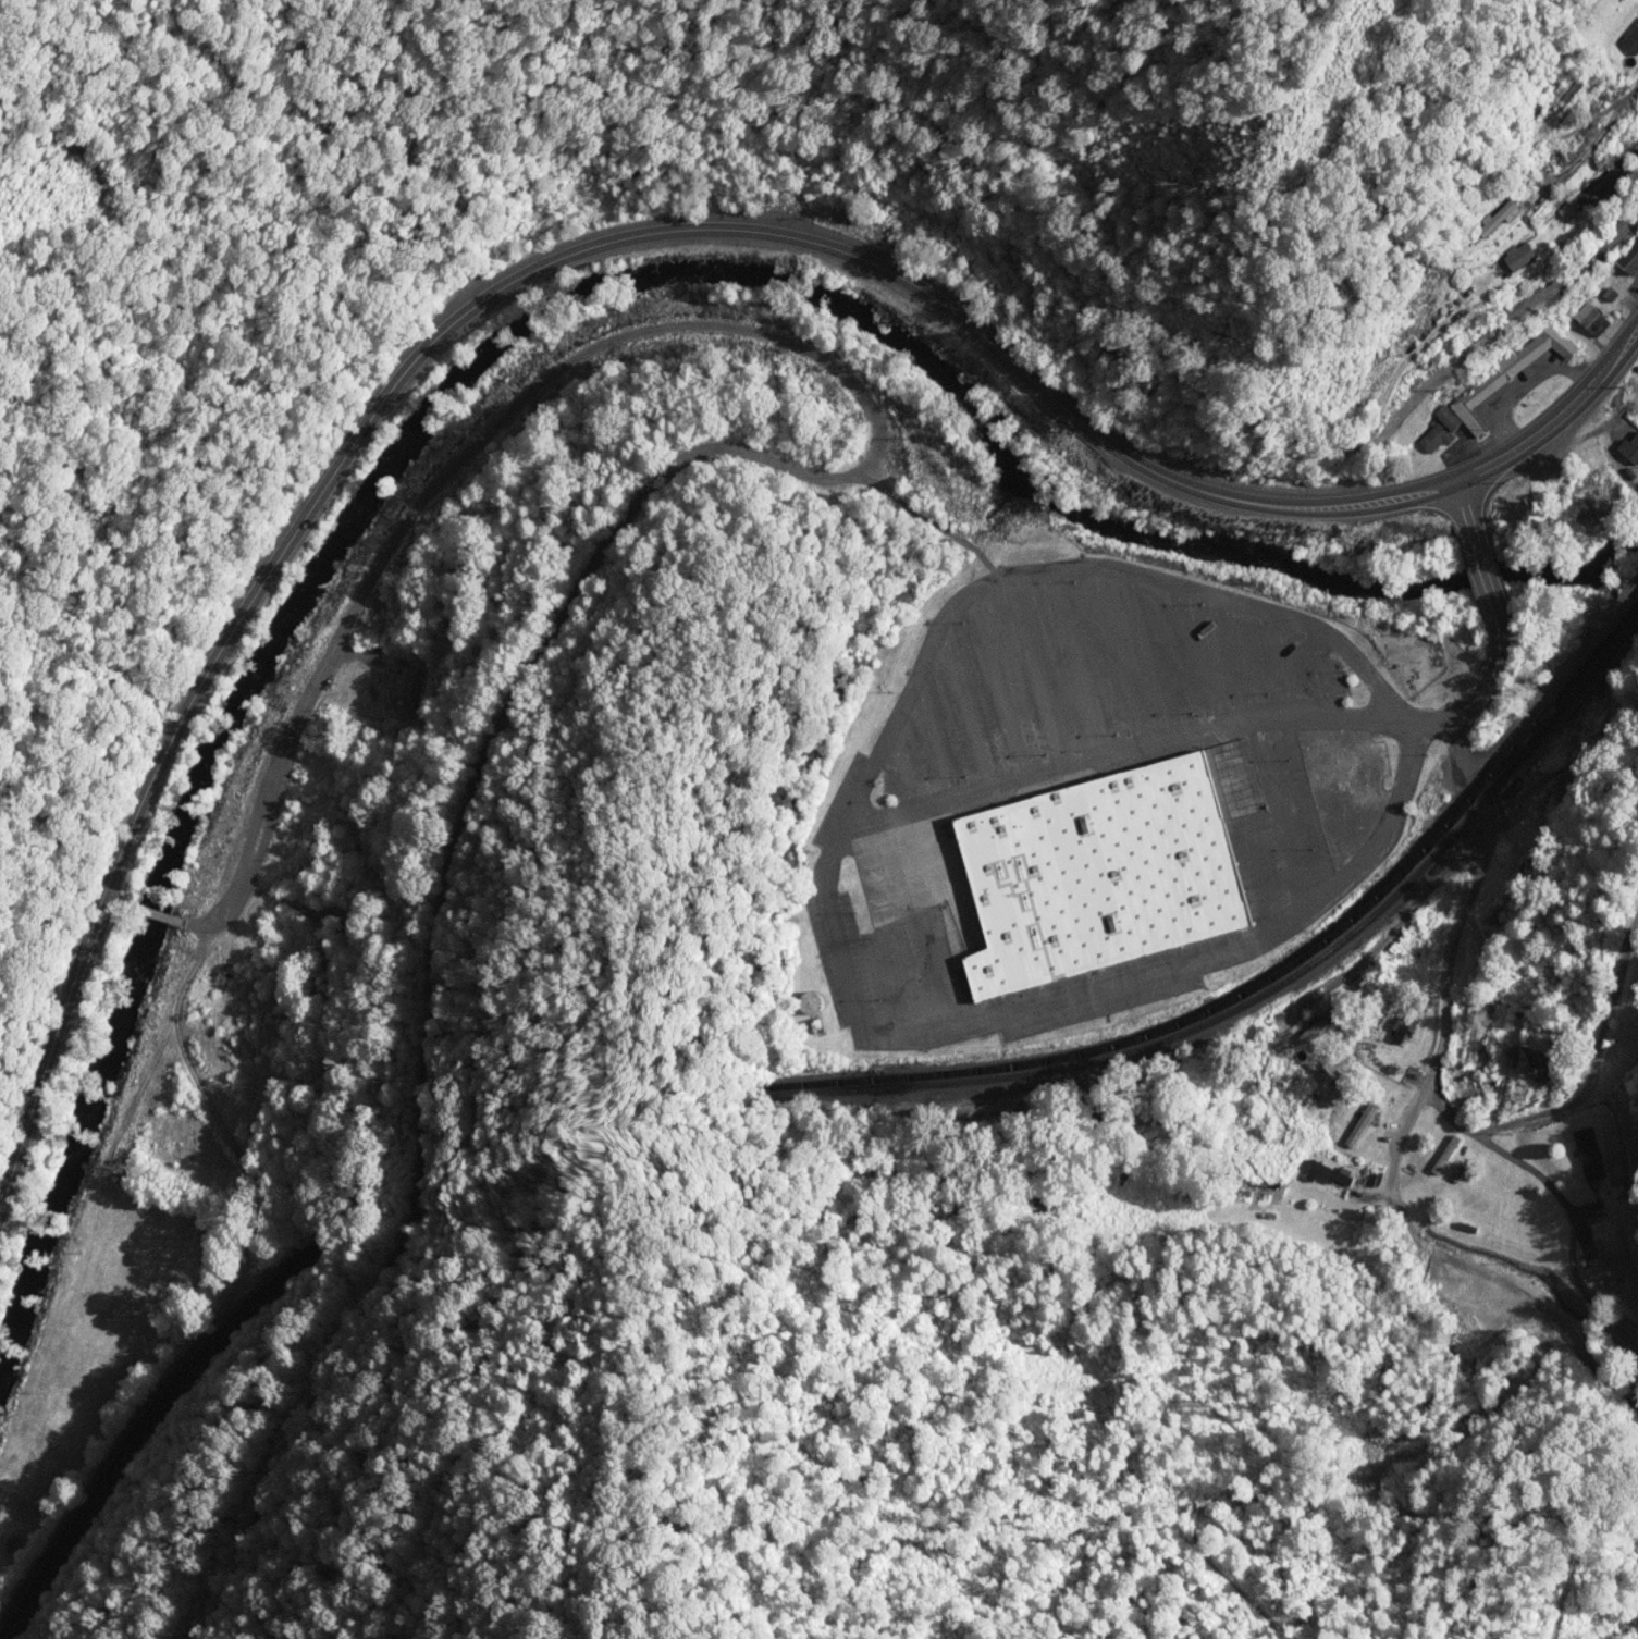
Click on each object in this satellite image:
building: (1633, 41)
building: (1568, 93)
road: (1589, 146)
building: (1500, 220)
road: (601, 244)
building: (1520, 257)
building: (1630, 259)
road: (994, 273)
building: (1593, 320)
road: (1499, 322)
building: (1514, 371)
building: (1442, 430)
building: (1633, 451)
building: (406, 681)
road: (1486, 814)
road: (900, 816)
building: (1101, 875)
building: (883, 905)
railway: (1269, 978)
railway: (1270, 990)
building: (813, 1002)
building: (1322, 1024)
building: (1404, 1030)
building: (1535, 1062)
building: (1363, 1125)
building: (1591, 1154)
building: (1448, 1155)
building: (1323, 1173)
road: (1382, 1197)
building: (1604, 1270)
road: (1618, 1309)
railway: (148, 1428)
railway: (157, 1433)
road: (1535, 1461)

